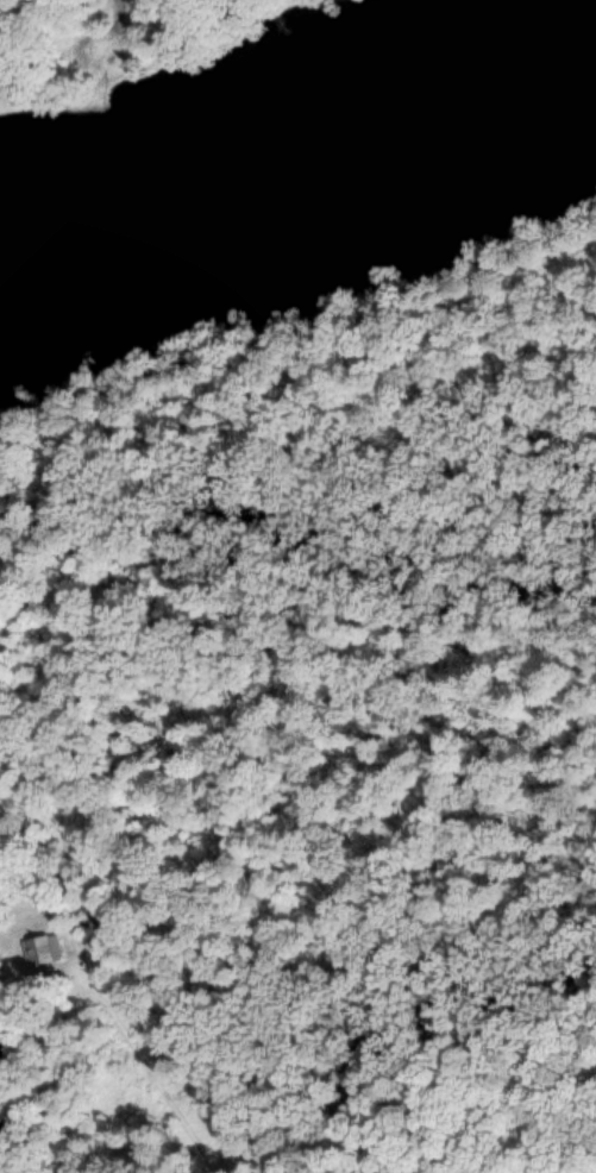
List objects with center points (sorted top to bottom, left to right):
river: (294, 149)
building: (46, 949)
road: (153, 1077)

